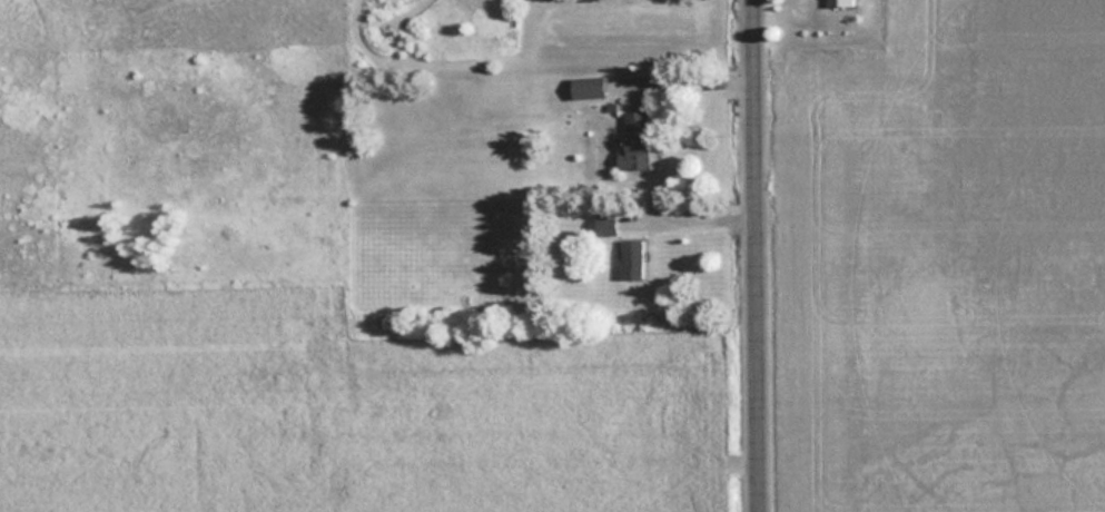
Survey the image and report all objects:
building: (837, 2)
building: (586, 87)
building: (634, 141)
road: (758, 256)
building: (631, 258)

